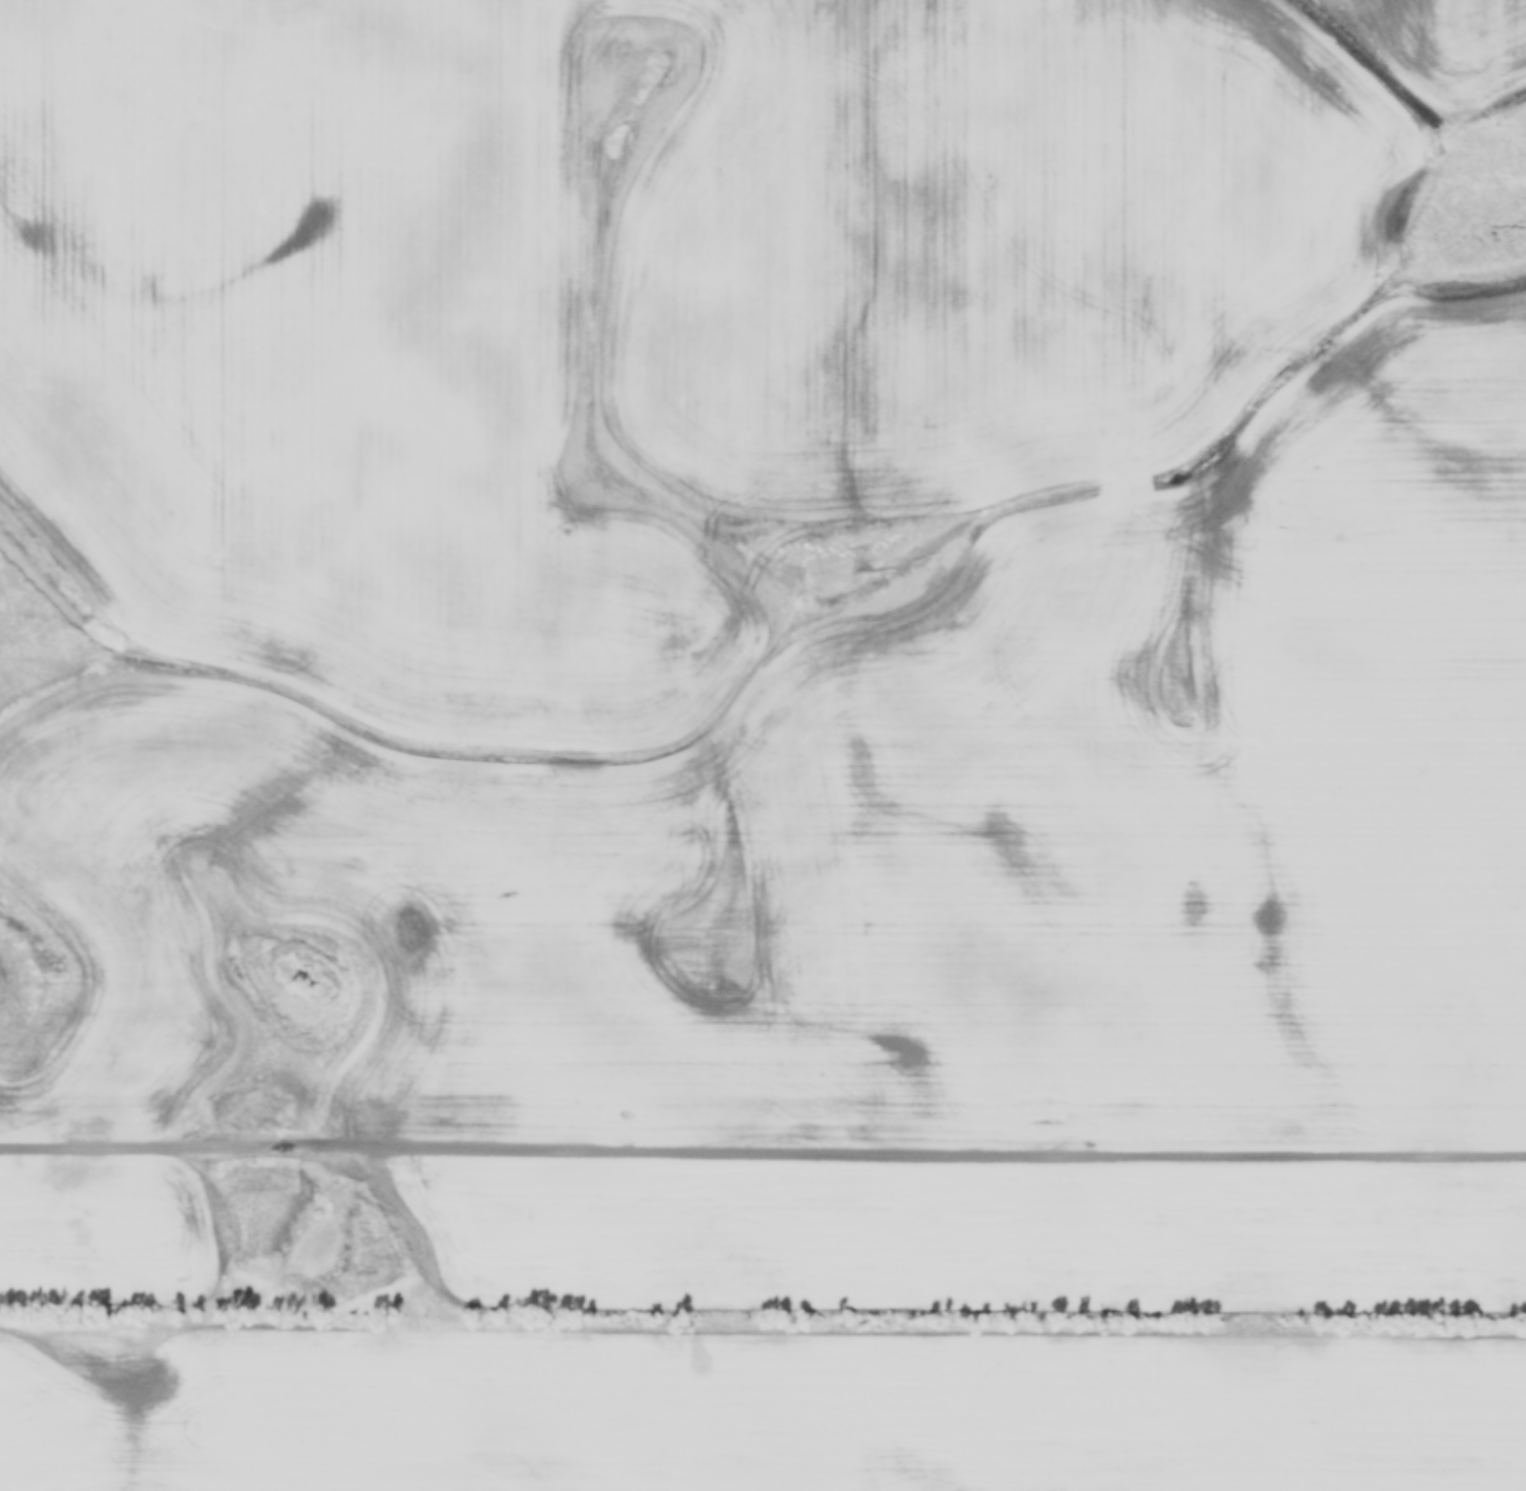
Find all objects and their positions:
road: (762, 1155)

